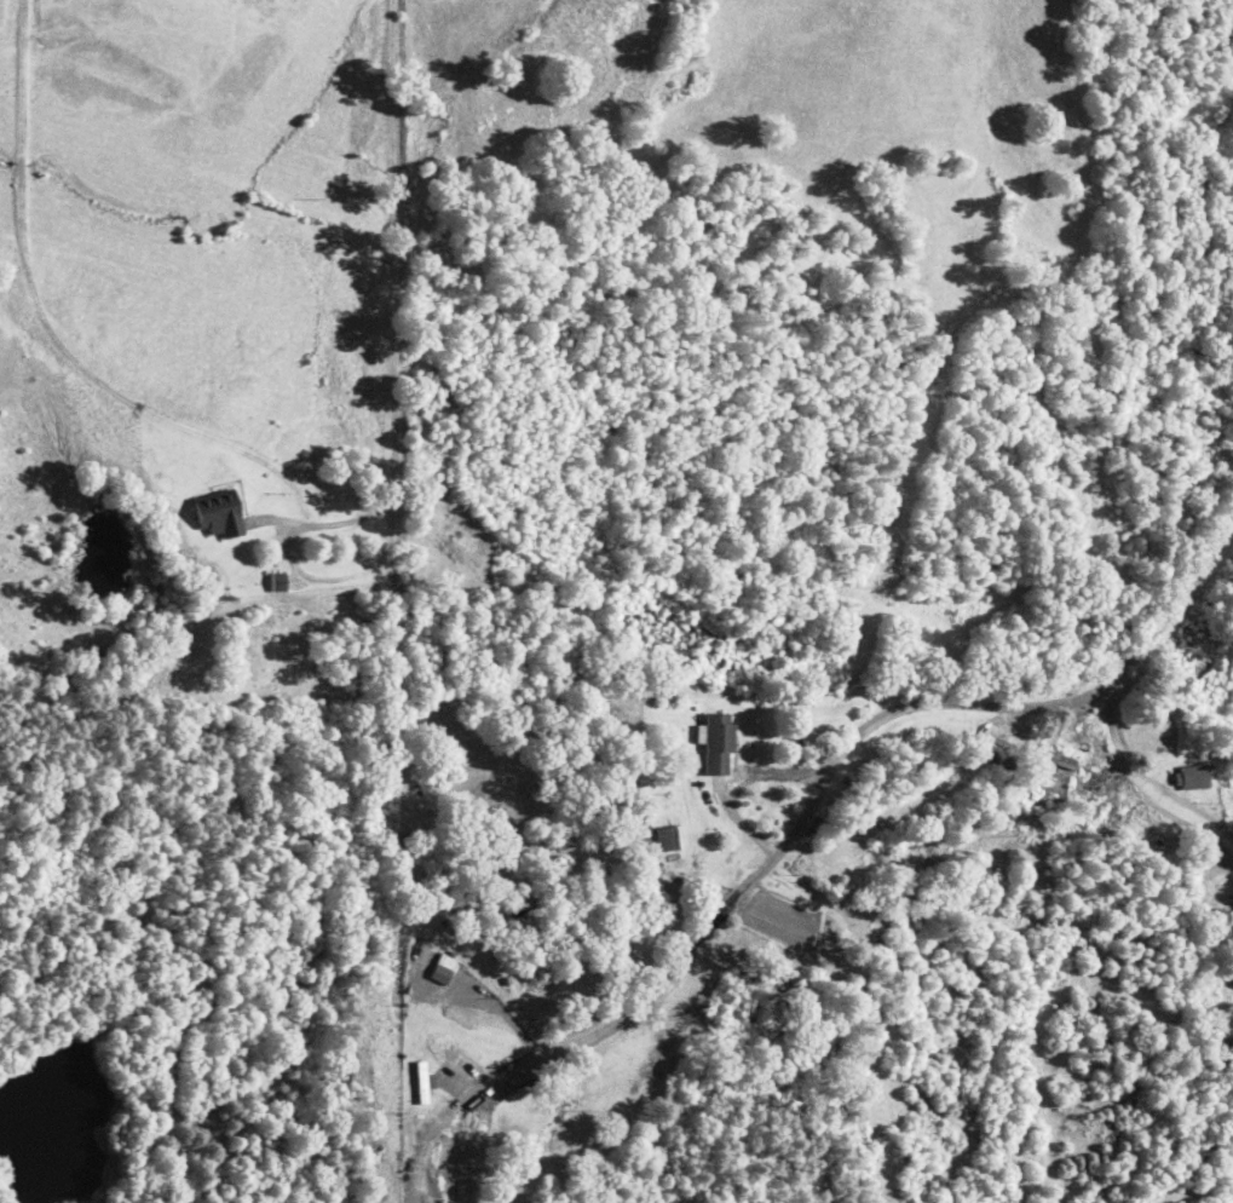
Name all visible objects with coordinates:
building: (218, 516)
building: (719, 747)
building: (1056, 760)
building: (1192, 779)
road: (765, 784)
road: (1153, 815)
building: (674, 840)
building: (1225, 936)
building: (419, 1086)

